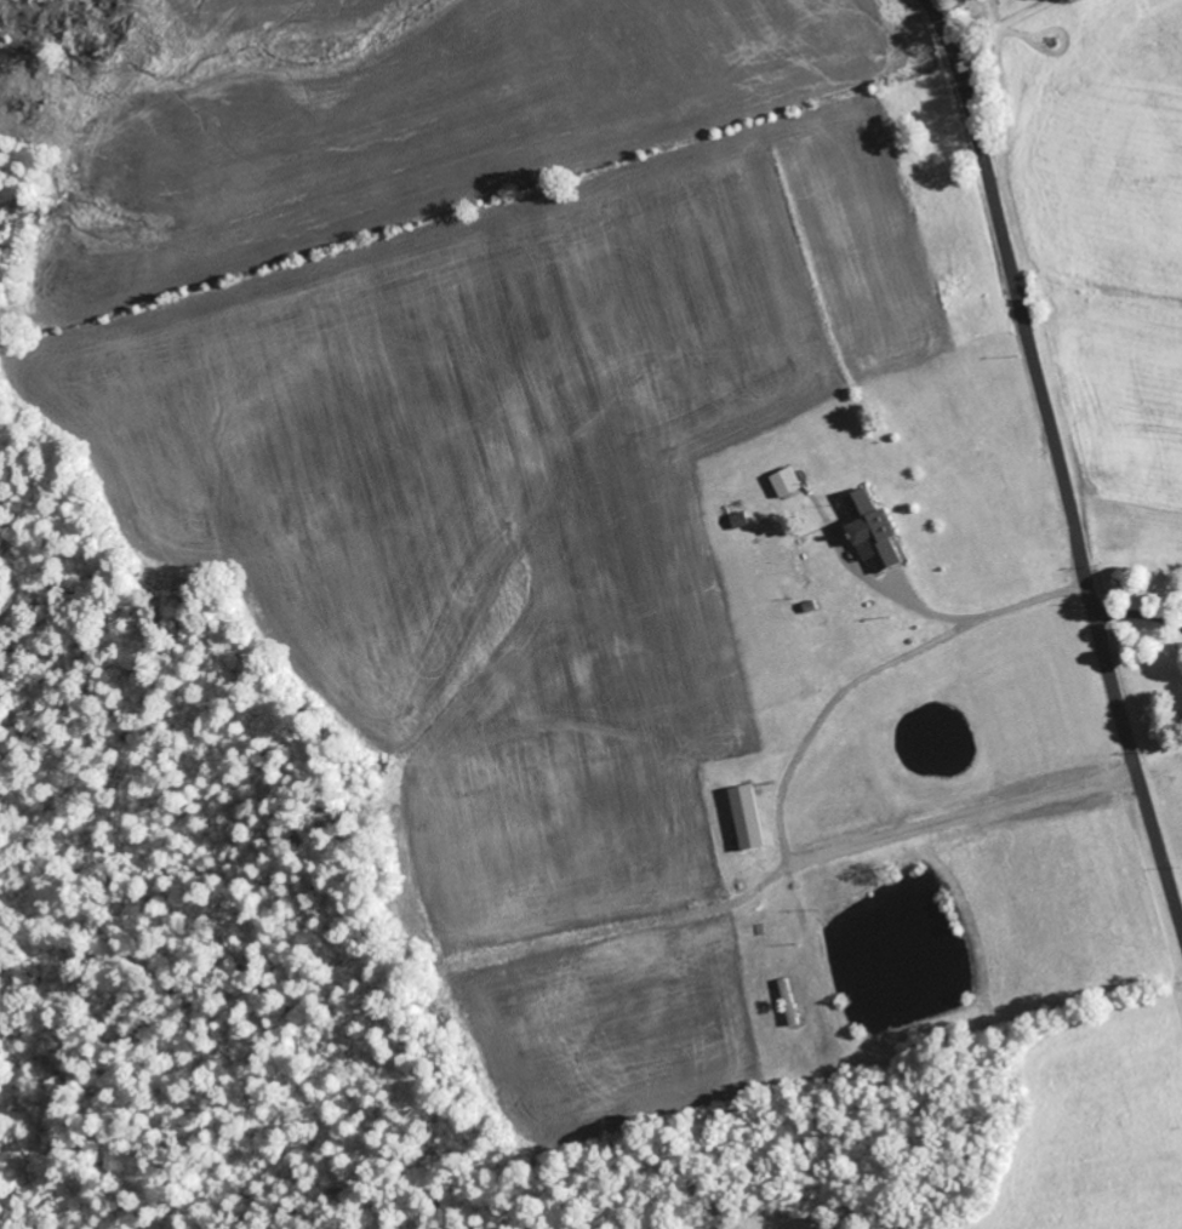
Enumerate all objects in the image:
park: (1012, 7)
road: (1060, 458)
building: (789, 482)
building: (876, 530)
building: (753, 817)

